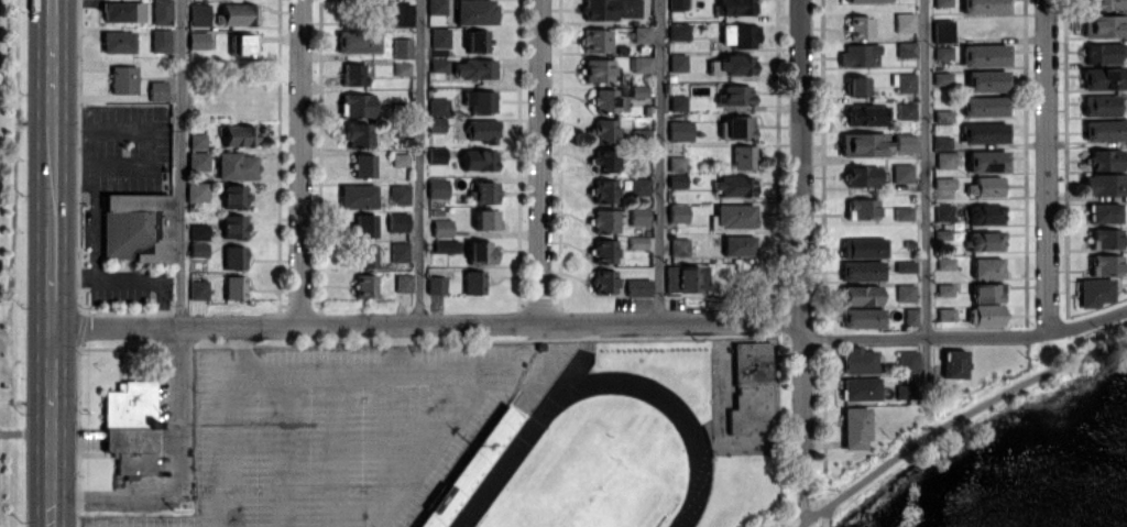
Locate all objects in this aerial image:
building: (865, 1)
building: (677, 4)
building: (1108, 4)
building: (985, 6)
building: (437, 7)
building: (734, 7)
building: (612, 9)
building: (123, 11)
building: (162, 12)
building: (475, 12)
building: (199, 13)
building: (237, 13)
building: (397, 14)
building: (905, 22)
building: (1105, 25)
building: (858, 26)
building: (679, 31)
building: (942, 31)
building: (642, 34)
building: (740, 35)
building: (440, 37)
building: (160, 40)
building: (198, 40)
building: (477, 40)
building: (595, 40)
building: (118, 41)
building: (358, 41)
building: (241, 44)
building: (402, 47)
building: (906, 50)
building: (943, 52)
building: (1105, 52)
building: (858, 54)
building: (985, 54)
building: (678, 62)
building: (439, 64)
building: (642, 64)
building: (735, 64)
building: (402, 67)
building: (474, 68)
building: (598, 69)
building: (353, 74)
building: (942, 78)
building: (1103, 78)
building: (123, 79)
building: (987, 80)
building: (906, 81)
building: (856, 85)
building: (157, 90)
building: (638, 90)
building: (737, 95)
building: (481, 100)
building: (608, 100)
building: (678, 102)
building: (357, 105)
building: (1101, 105)
building: (439, 106)
building: (984, 106)
building: (906, 110)
road: (52, 113)
building: (864, 114)
building: (436, 123)
building: (738, 127)
building: (483, 130)
building: (603, 130)
building: (680, 130)
building: (1105, 130)
building: (984, 132)
building: (239, 134)
building: (359, 134)
building: (196, 140)
building: (941, 141)
building: (904, 142)
building: (864, 144)
building: (437, 154)
building: (744, 156)
building: (400, 158)
building: (479, 160)
building: (604, 160)
road: (663, 160)
building: (945, 160)
building: (1105, 160)
road: (182, 161)
building: (197, 161)
road: (300, 161)
road: (422, 161)
road: (541, 161)
building: (987, 161)
building: (677, 163)
building: (236, 165)
building: (363, 165)
road: (1048, 166)
building: (902, 173)
building: (865, 176)
building: (677, 180)
building: (943, 182)
building: (1105, 184)
building: (639, 185)
building: (735, 185)
building: (985, 186)
building: (437, 187)
building: (602, 190)
building: (196, 191)
building: (482, 193)
building: (400, 194)
building: (234, 195)
building: (358, 196)
road: (927, 199)
building: (862, 208)
building: (943, 211)
building: (678, 212)
building: (1106, 212)
building: (904, 213)
building: (986, 213)
building: (638, 215)
building: (735, 215)
building: (484, 219)
building: (604, 220)
building: (397, 221)
building: (364, 224)
building: (233, 226)
building: (135, 227)
building: (441, 227)
road: (801, 229)
building: (198, 230)
building: (1106, 237)
building: (985, 240)
building: (446, 245)
building: (738, 245)
building: (679, 246)
building: (862, 246)
building: (198, 249)
building: (605, 251)
building: (400, 252)
building: (480, 252)
building: (365, 255)
building: (233, 256)
park: (12, 260)
building: (1106, 264)
building: (987, 267)
building: (862, 270)
road: (51, 275)
building: (687, 278)
building: (603, 281)
building: (403, 282)
building: (473, 282)
building: (436, 284)
building: (364, 285)
building: (638, 286)
building: (233, 287)
building: (197, 289)
building: (906, 292)
building: (988, 292)
building: (1095, 292)
building: (861, 294)
building: (947, 314)
building: (986, 315)
building: (911, 316)
building: (863, 317)
road: (426, 321)
road: (965, 338)
building: (858, 360)
building: (908, 361)
building: (954, 363)
road: (321, 373)
building: (751, 387)
building: (861, 388)
building: (905, 391)
road: (955, 421)
road: (51, 426)
building: (130, 426)
building: (855, 427)
parking lot: (335, 432)
track: (526, 437)
park: (637, 438)
road: (178, 466)
road: (805, 488)
park: (583, 491)

